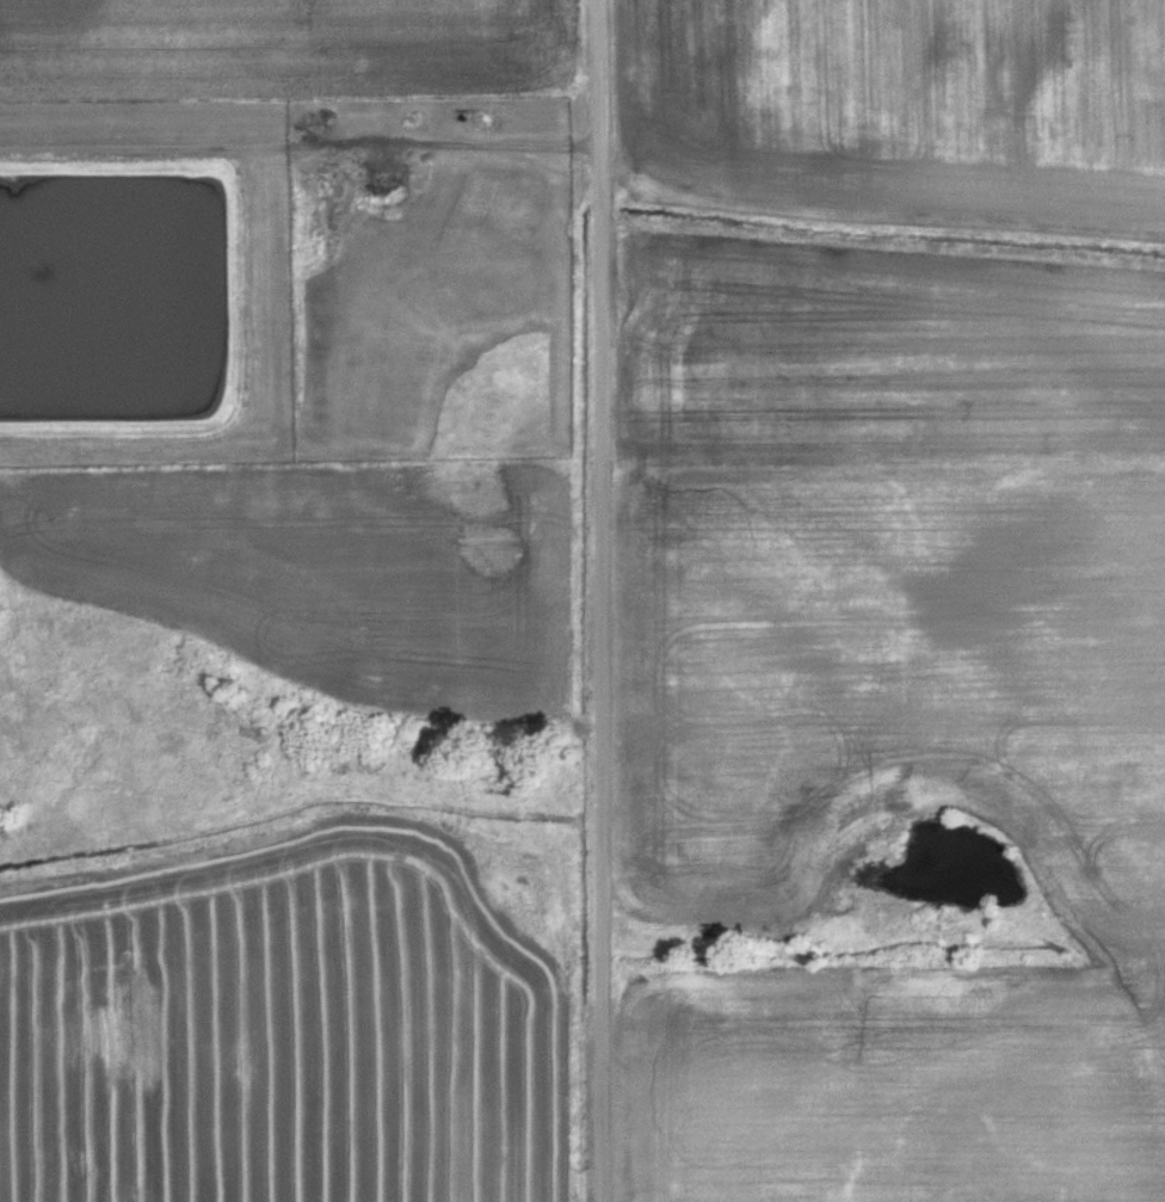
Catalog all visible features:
crop: (285, 48)
crop: (913, 93)
road: (423, 142)
wastewater plant: (140, 282)
road: (604, 600)

